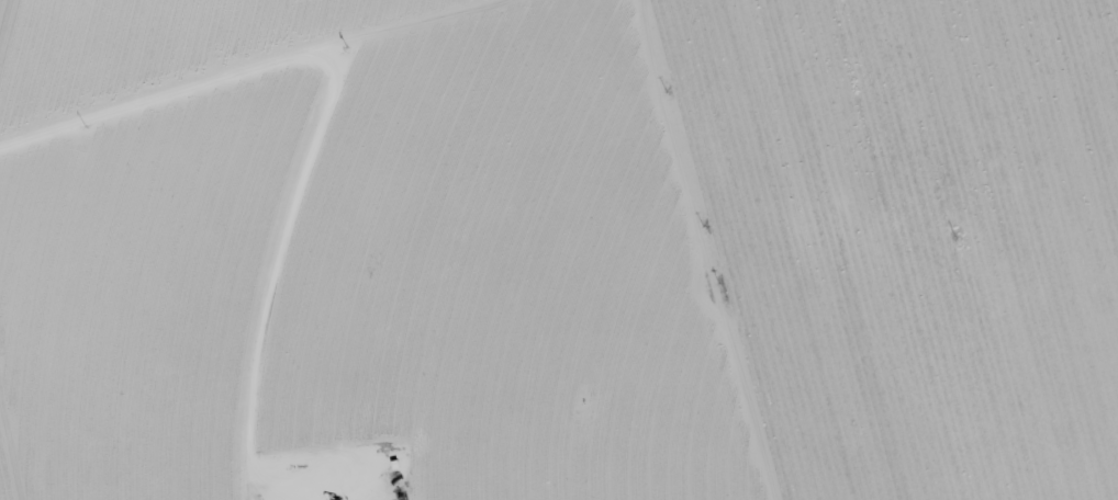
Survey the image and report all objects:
road: (247, 83)
road: (828, 132)

